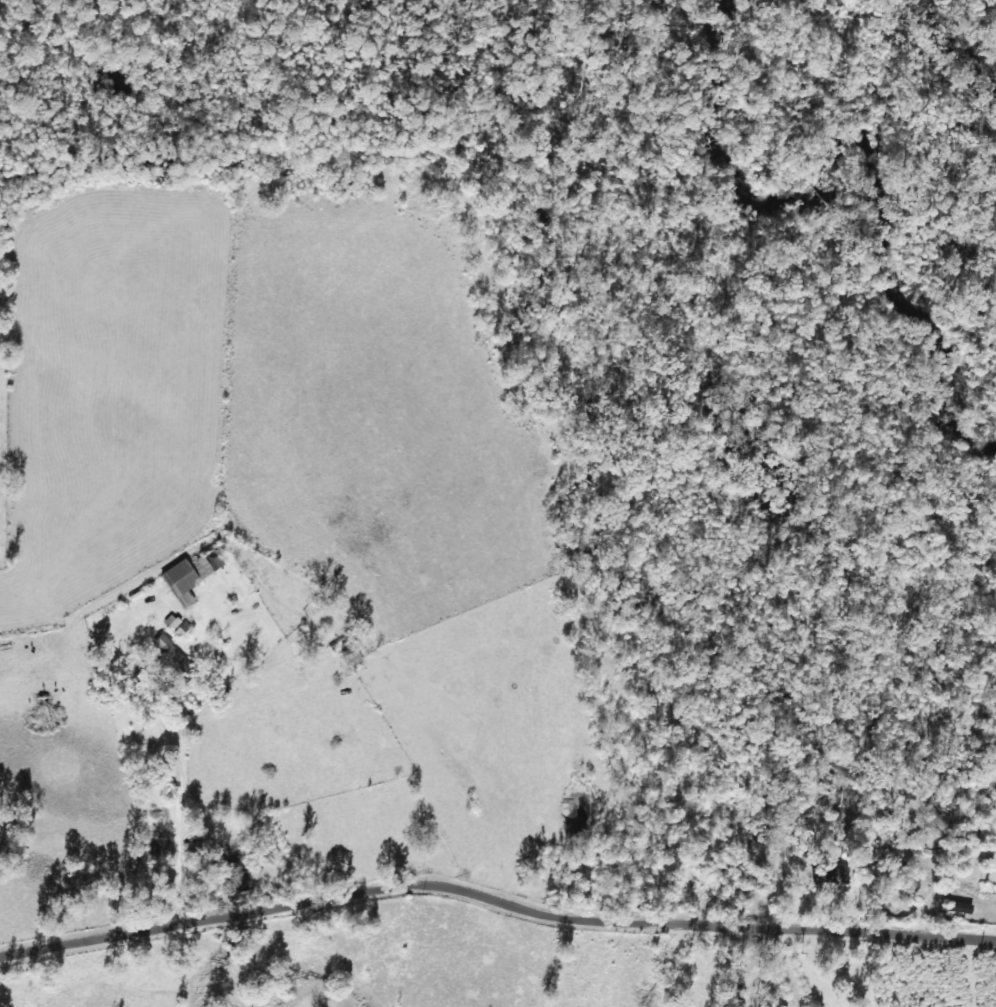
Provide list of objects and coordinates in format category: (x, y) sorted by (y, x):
building: (190, 574)
building: (170, 652)
building: (353, 654)
road: (497, 927)

